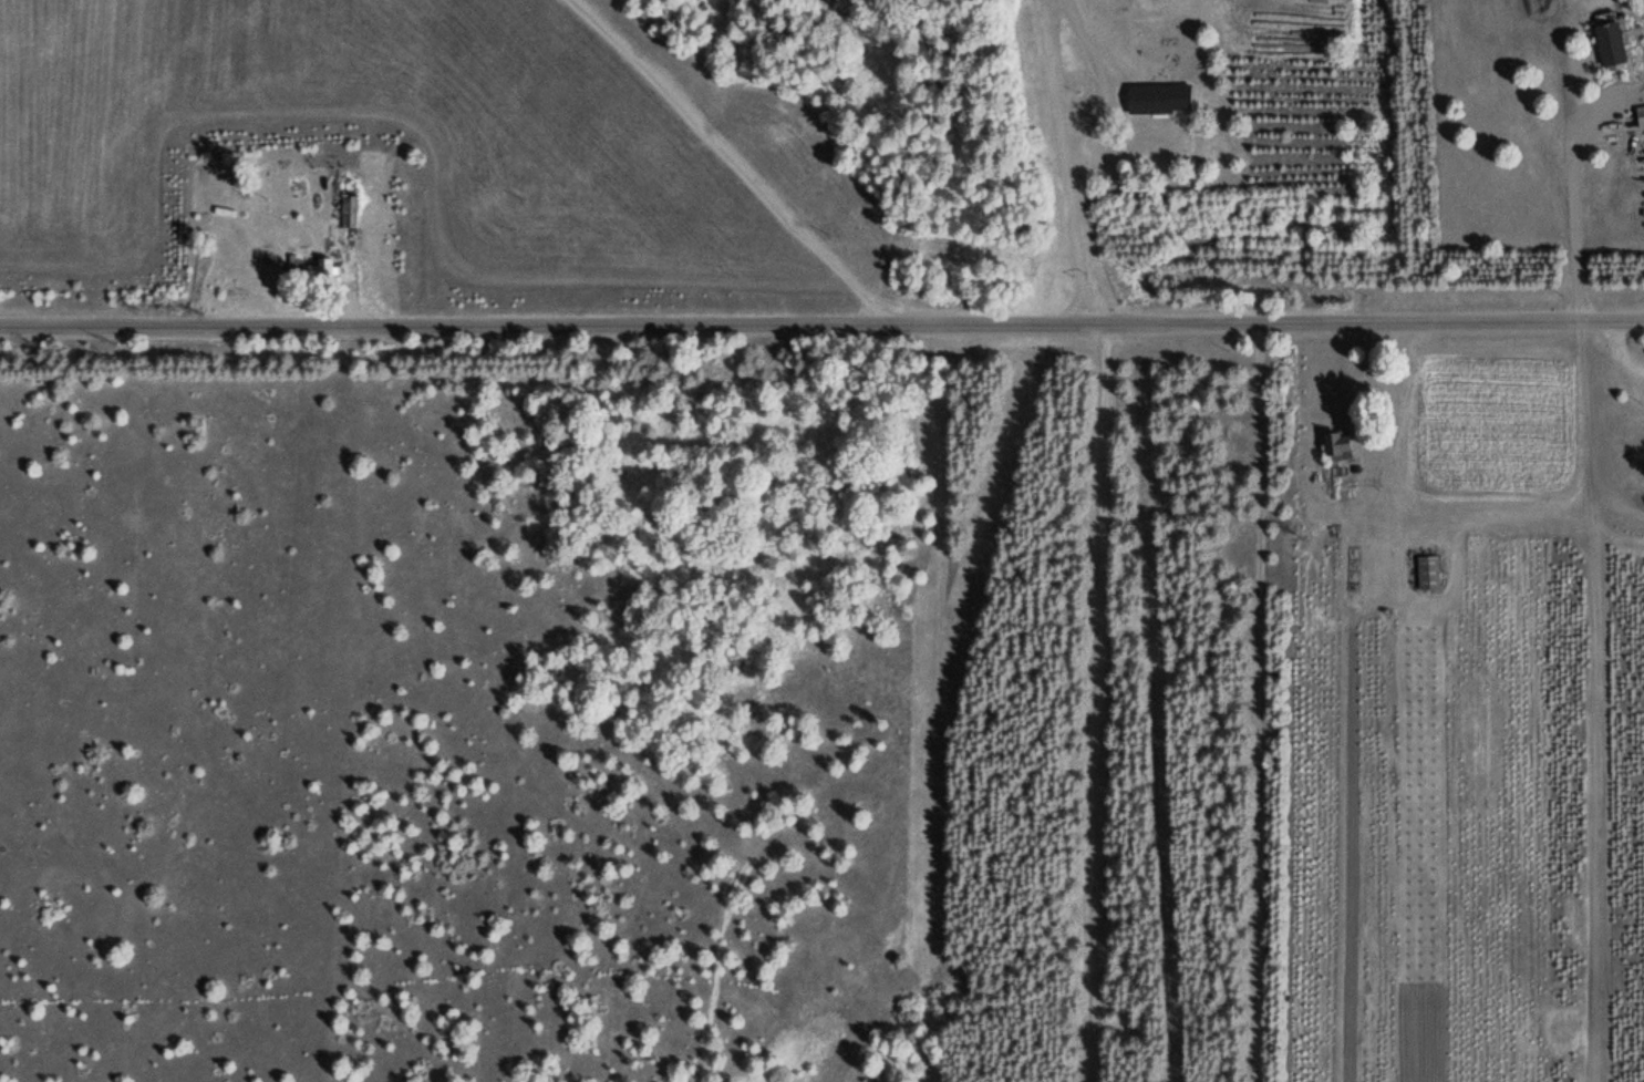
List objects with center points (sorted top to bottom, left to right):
road: (1043, 29)
building: (1607, 41)
road: (1106, 91)
building: (1156, 97)
building: (1638, 115)
road: (746, 159)
road: (1069, 190)
road: (1572, 203)
building: (347, 210)
building: (321, 268)
road: (821, 326)
building: (1334, 445)
building: (1425, 571)
road: (1103, 703)

